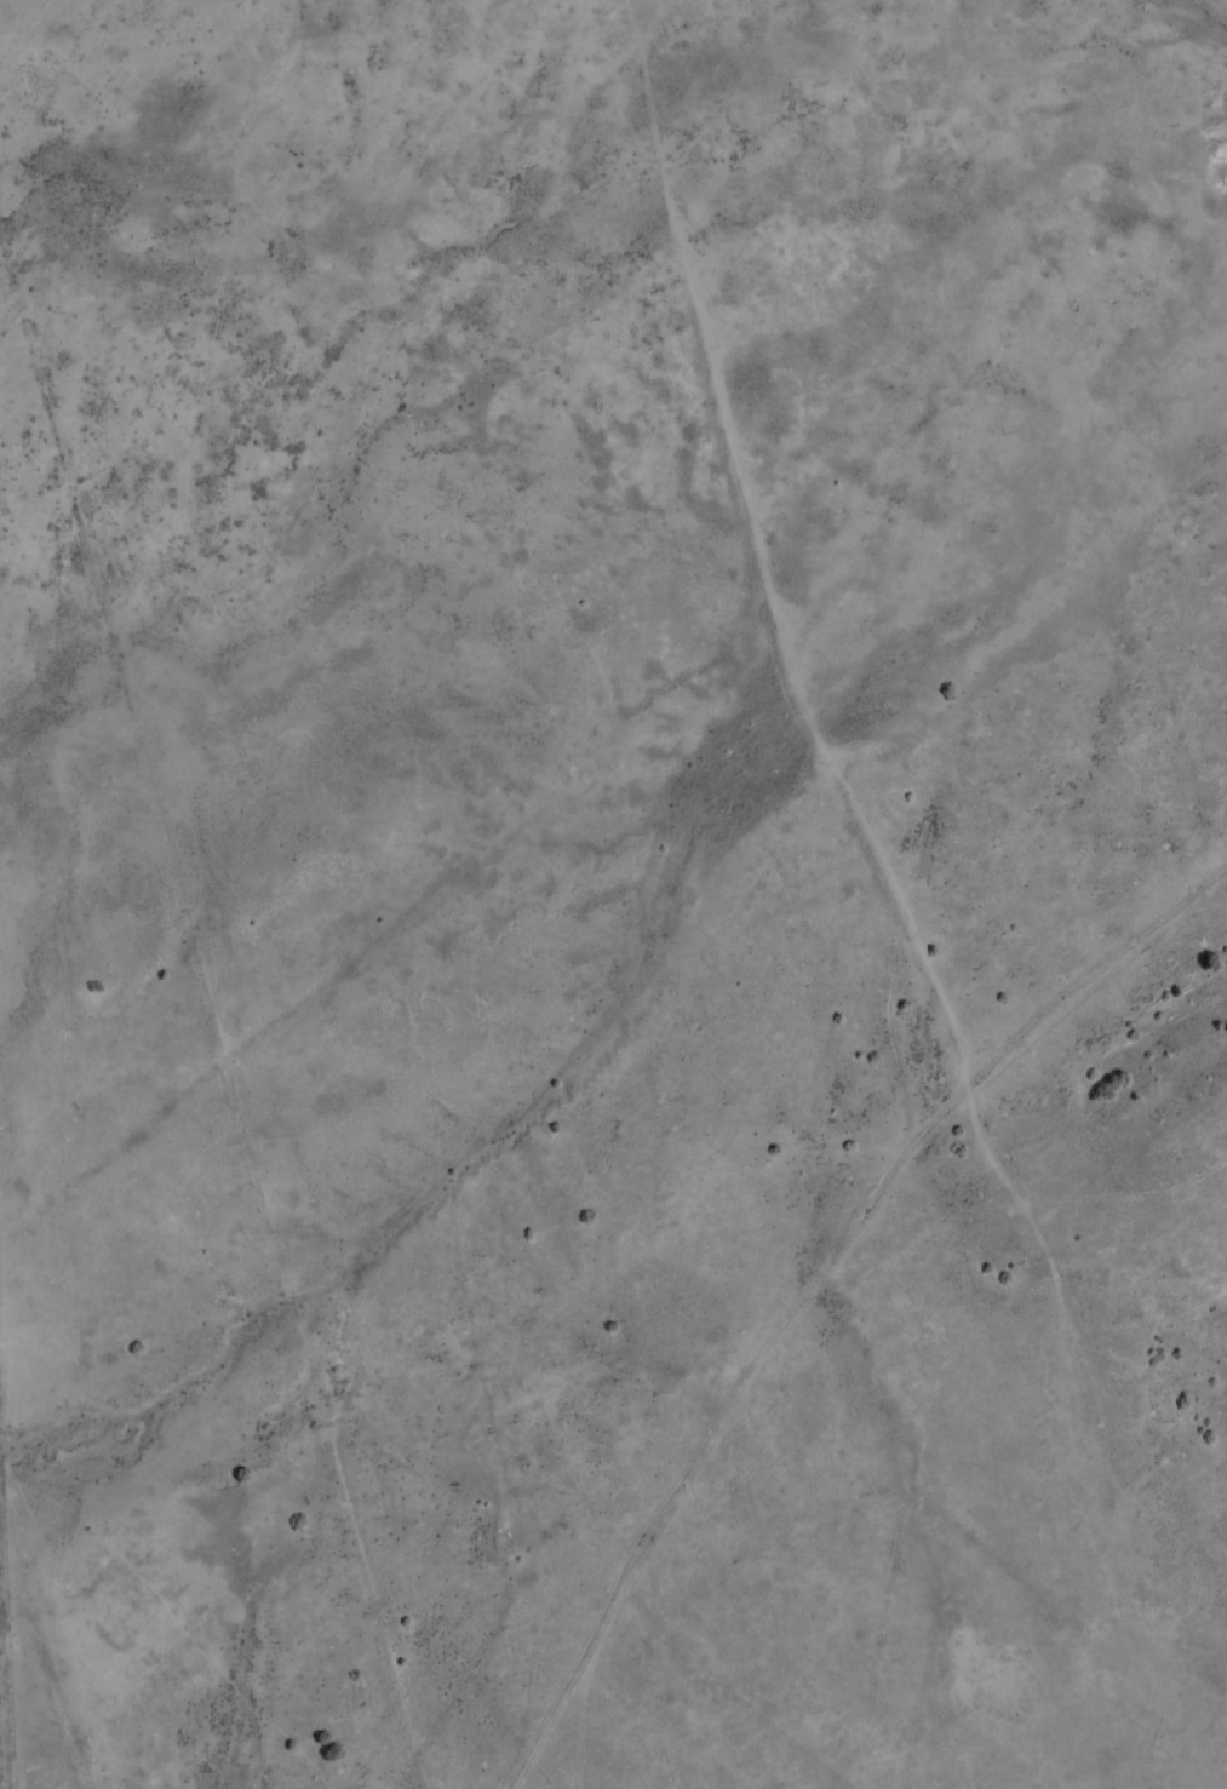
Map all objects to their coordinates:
road: (159, 1506)

